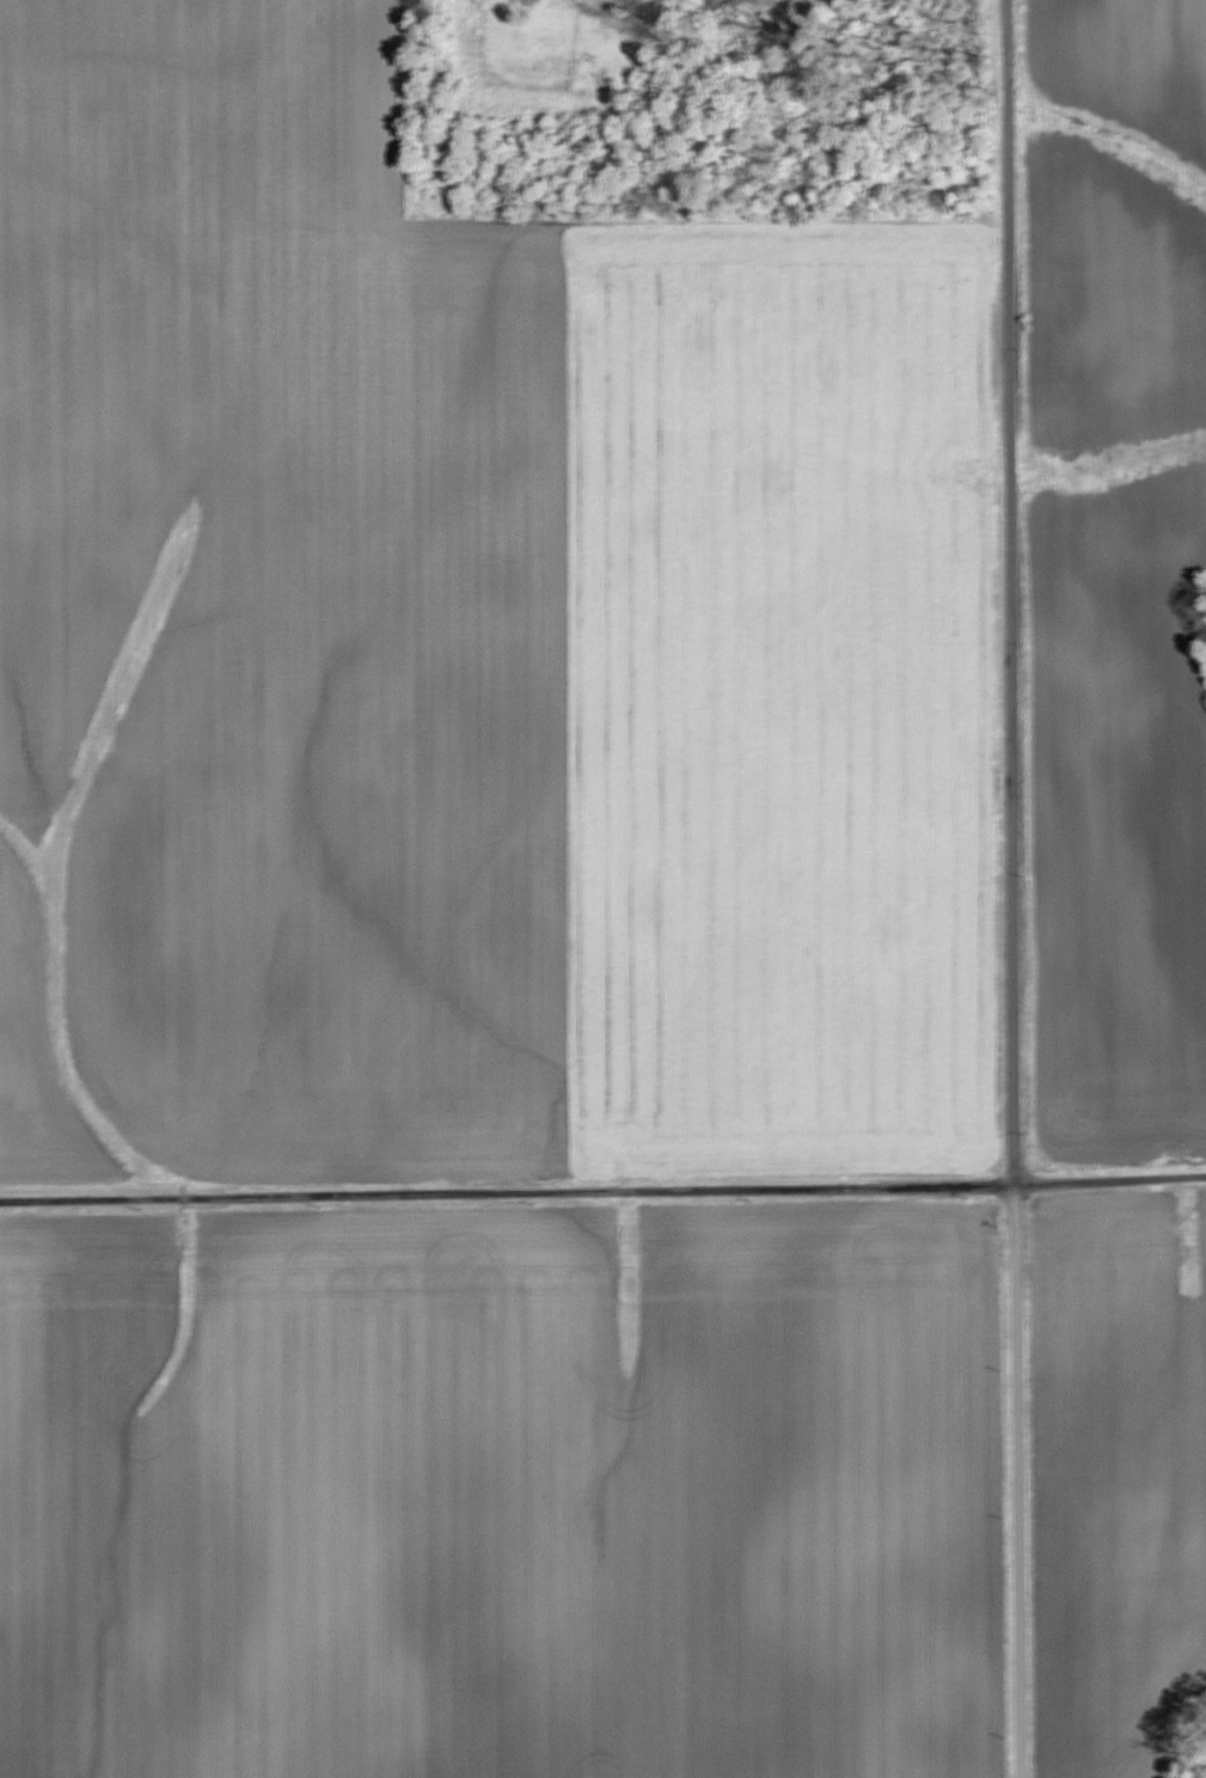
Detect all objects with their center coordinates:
road: (1003, 592)
road: (602, 1189)
road: (1008, 1480)

